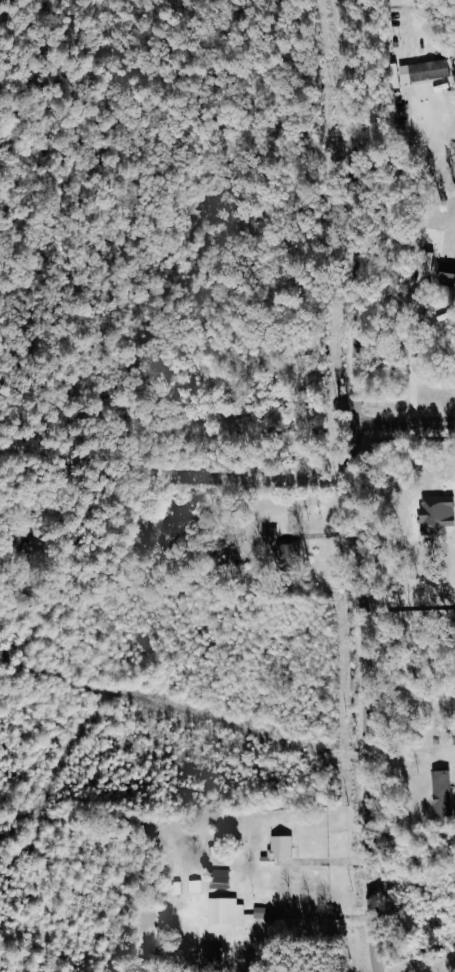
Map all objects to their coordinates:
road: (427, 24)
building: (423, 72)
building: (446, 274)
road: (403, 429)
road: (205, 474)
road: (354, 486)
building: (166, 529)
building: (282, 548)
building: (454, 737)
building: (443, 793)
building: (279, 850)
building: (222, 879)
building: (197, 886)
building: (232, 915)
road: (324, 916)

